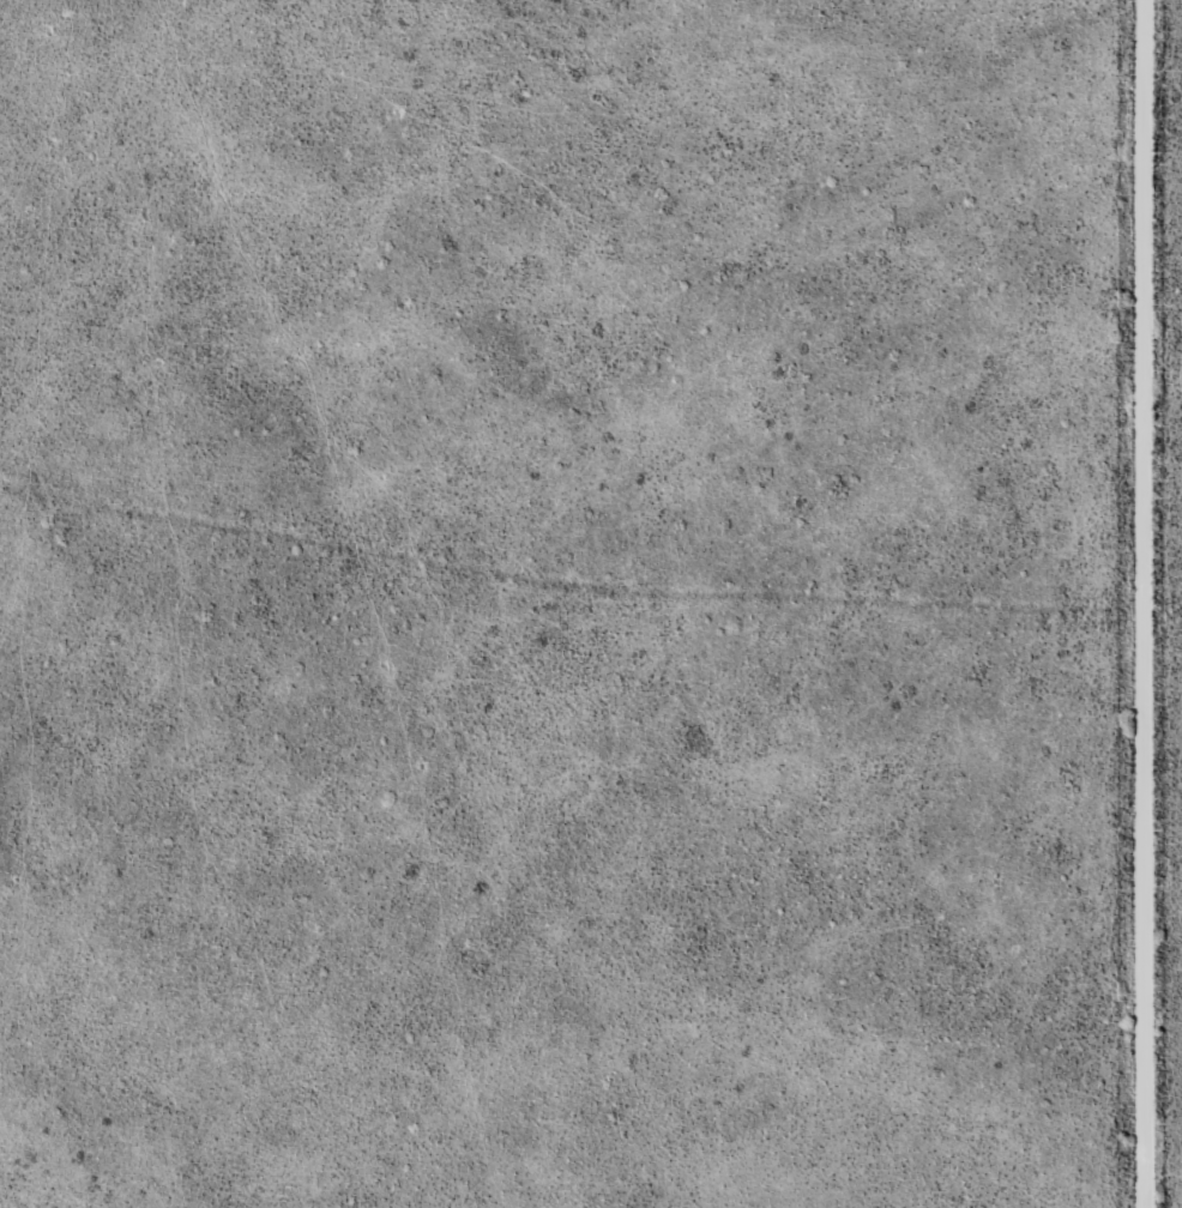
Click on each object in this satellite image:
road: (1145, 604)

